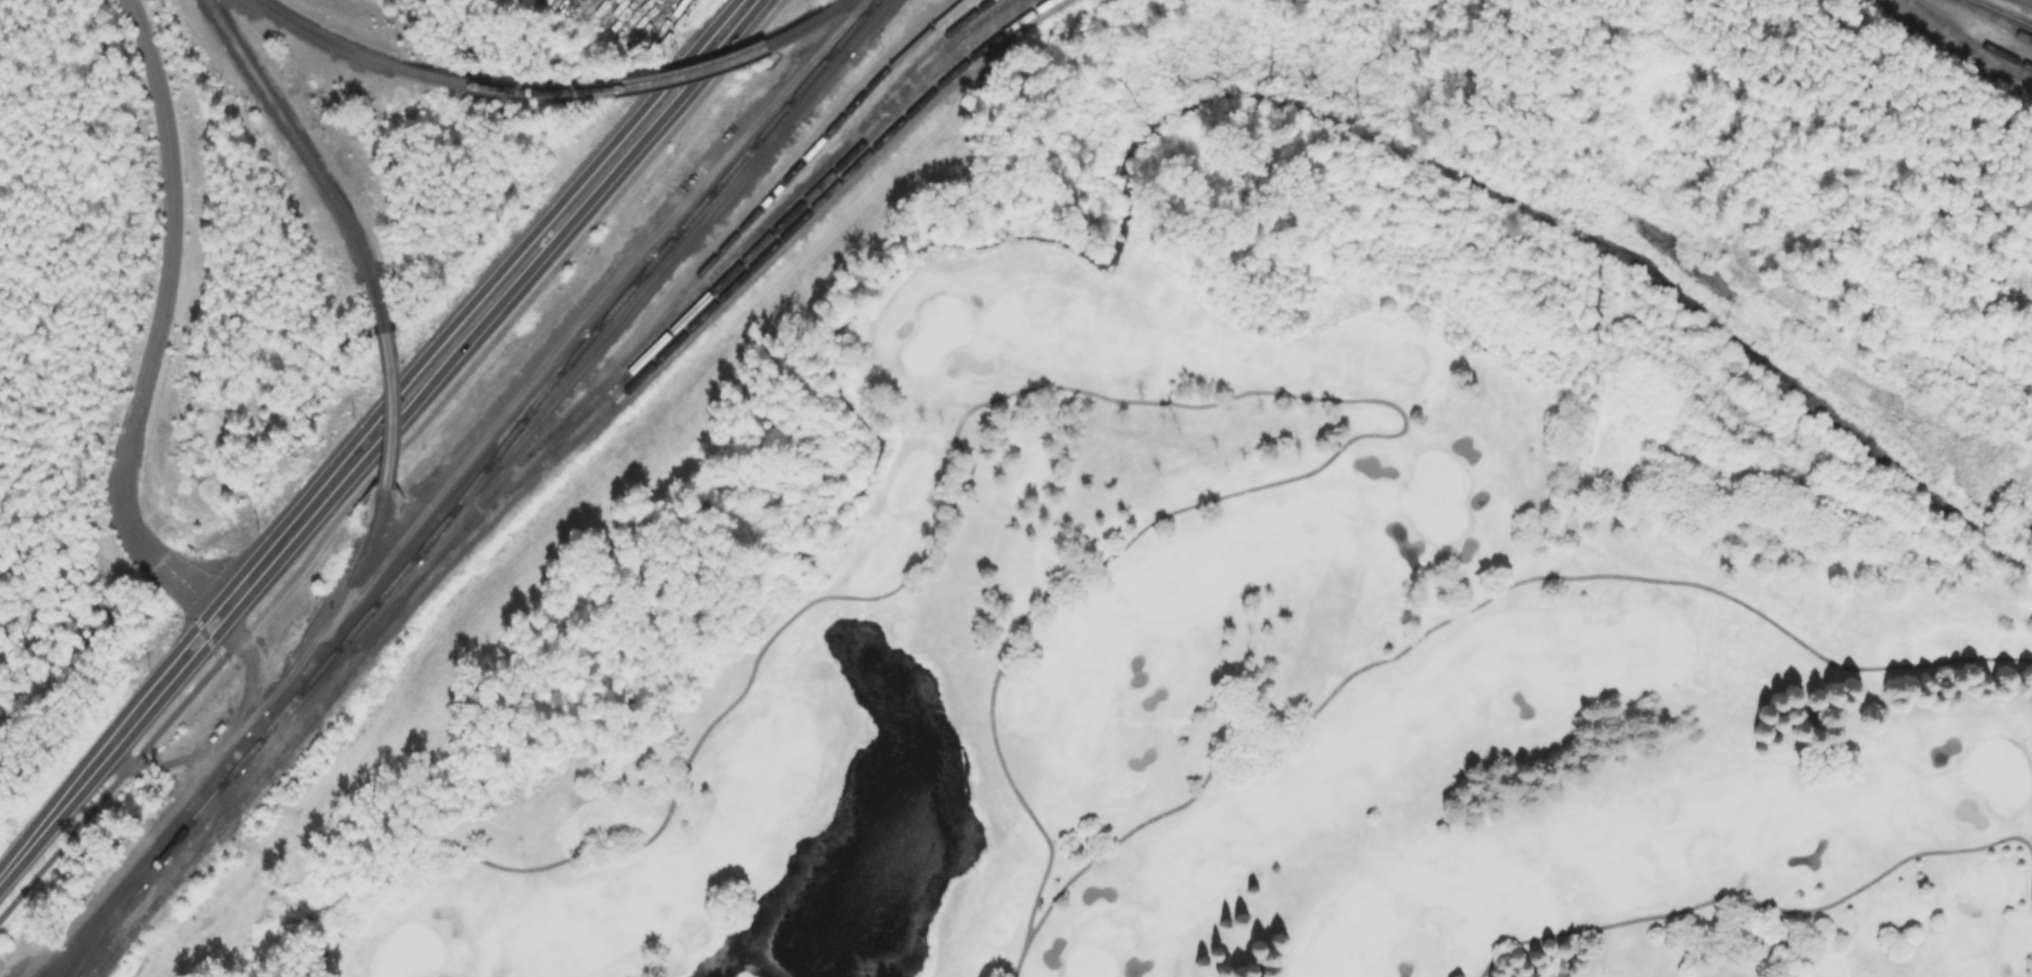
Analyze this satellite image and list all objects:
railway: (842, 1)
road: (2027, 1)
railway: (2002, 12)
road: (739, 13)
railway: (1995, 20)
railway: (864, 24)
railway: (1972, 36)
railway: (324, 37)
railway: (1970, 45)
railway: (899, 74)
railway: (623, 85)
railway: (764, 127)
railway: (293, 133)
railway: (749, 152)
railway: (784, 176)
railway: (718, 280)
road: (163, 284)
railway: (621, 296)
railway: (629, 302)
road: (502, 330)
road: (440, 339)
railway: (666, 346)
road: (456, 353)
railway: (389, 379)
road: (1110, 395)
railway: (500, 445)
railway: (520, 459)
railway: (538, 465)
railway: (418, 536)
road: (363, 586)
road: (1482, 597)
road: (201, 602)
railway: (341, 606)
park: (1169, 650)
railway: (328, 671)
railway: (287, 705)
building: (217, 725)
road: (229, 734)
building: (210, 735)
road: (220, 736)
road: (85, 774)
road: (110, 789)
railway: (204, 795)
railway: (146, 856)
road: (2031, 896)
road: (1755, 899)
railway: (107, 916)
railway: (103, 928)

